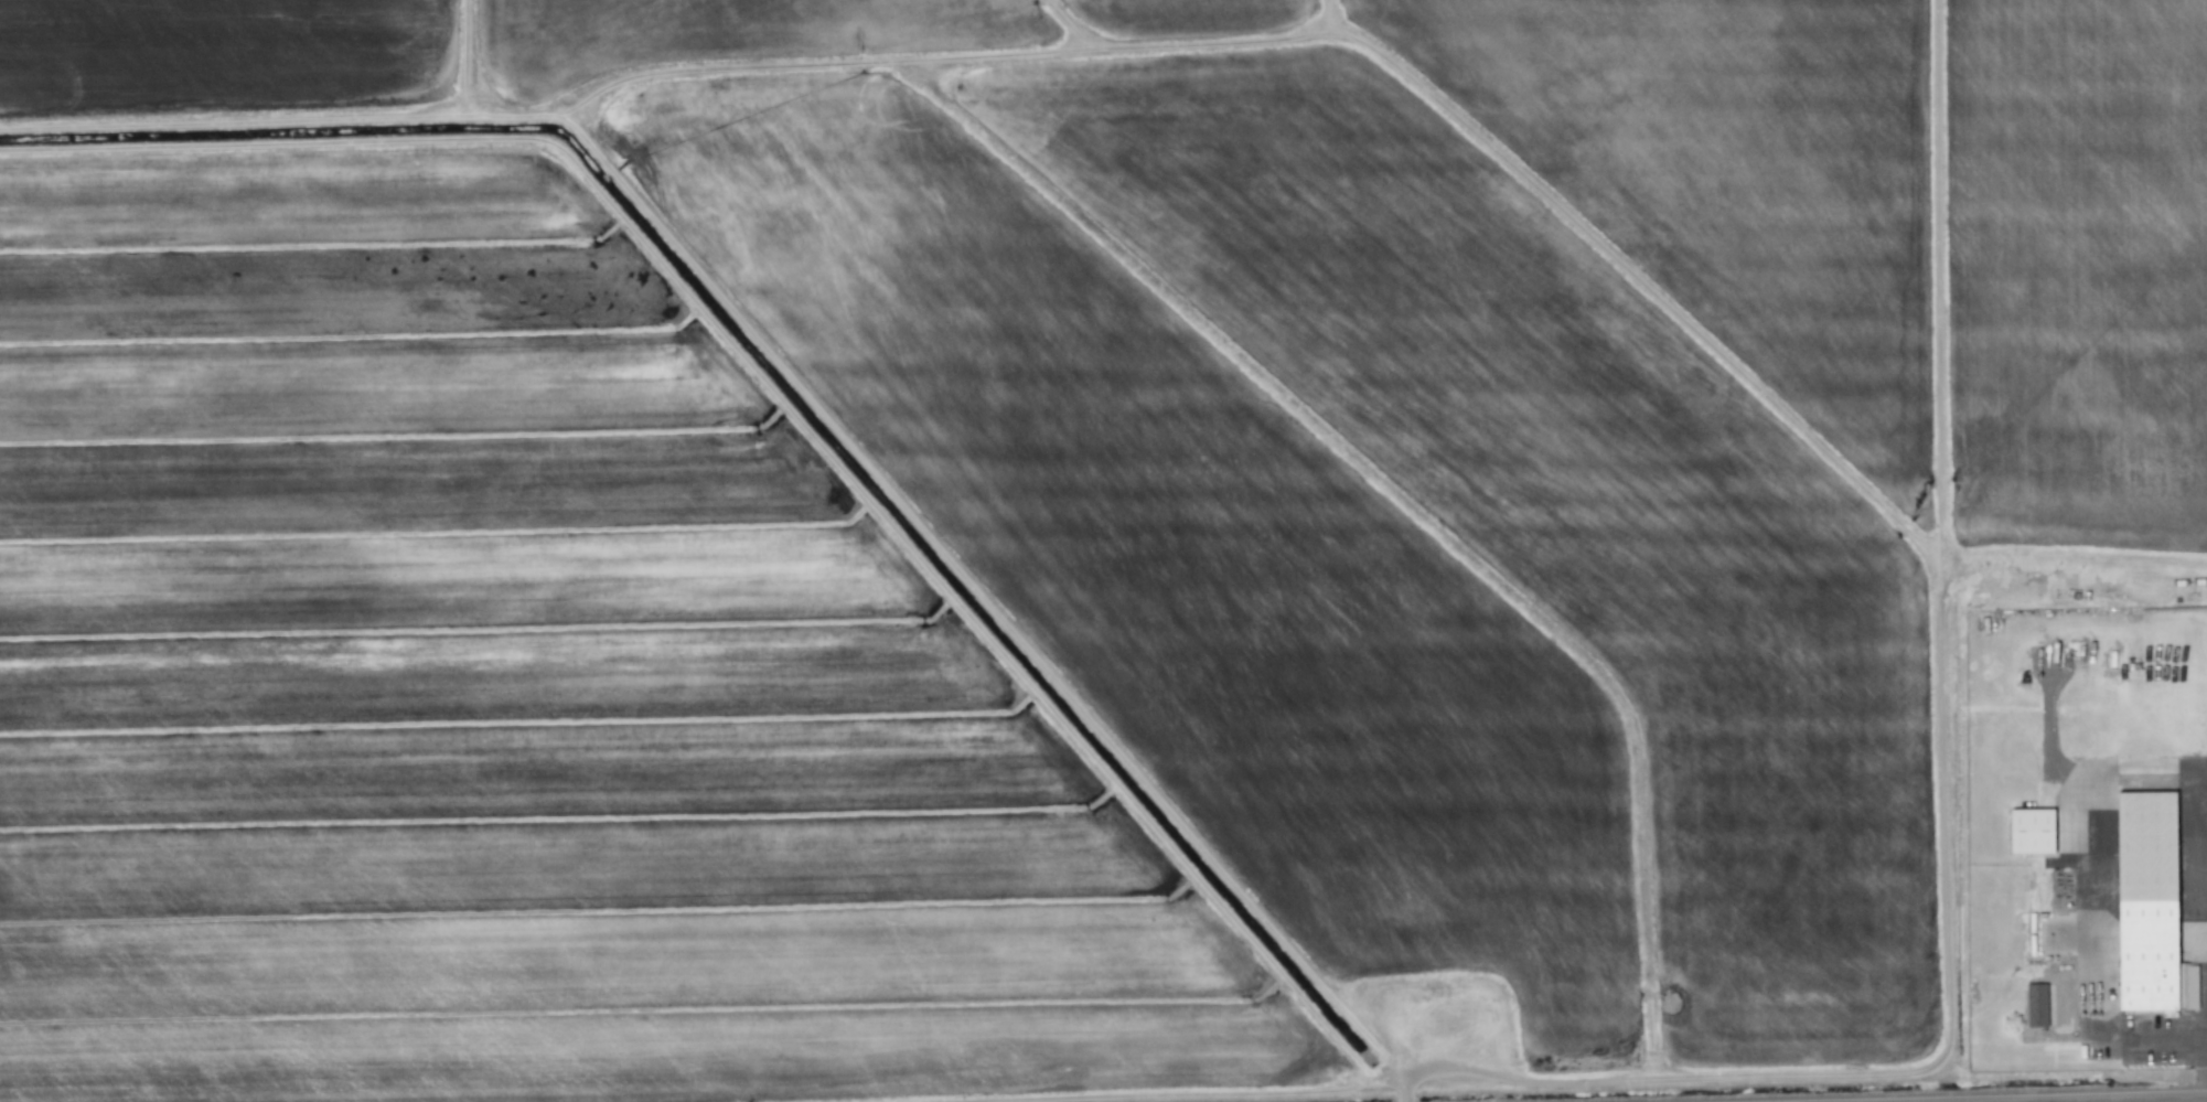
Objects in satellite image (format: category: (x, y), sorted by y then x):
building: (2031, 830)
airport: (2070, 835)
building: (2145, 898)
building: (2190, 978)
building: (2036, 1004)
road: (2205, 1048)
road: (2125, 1100)

